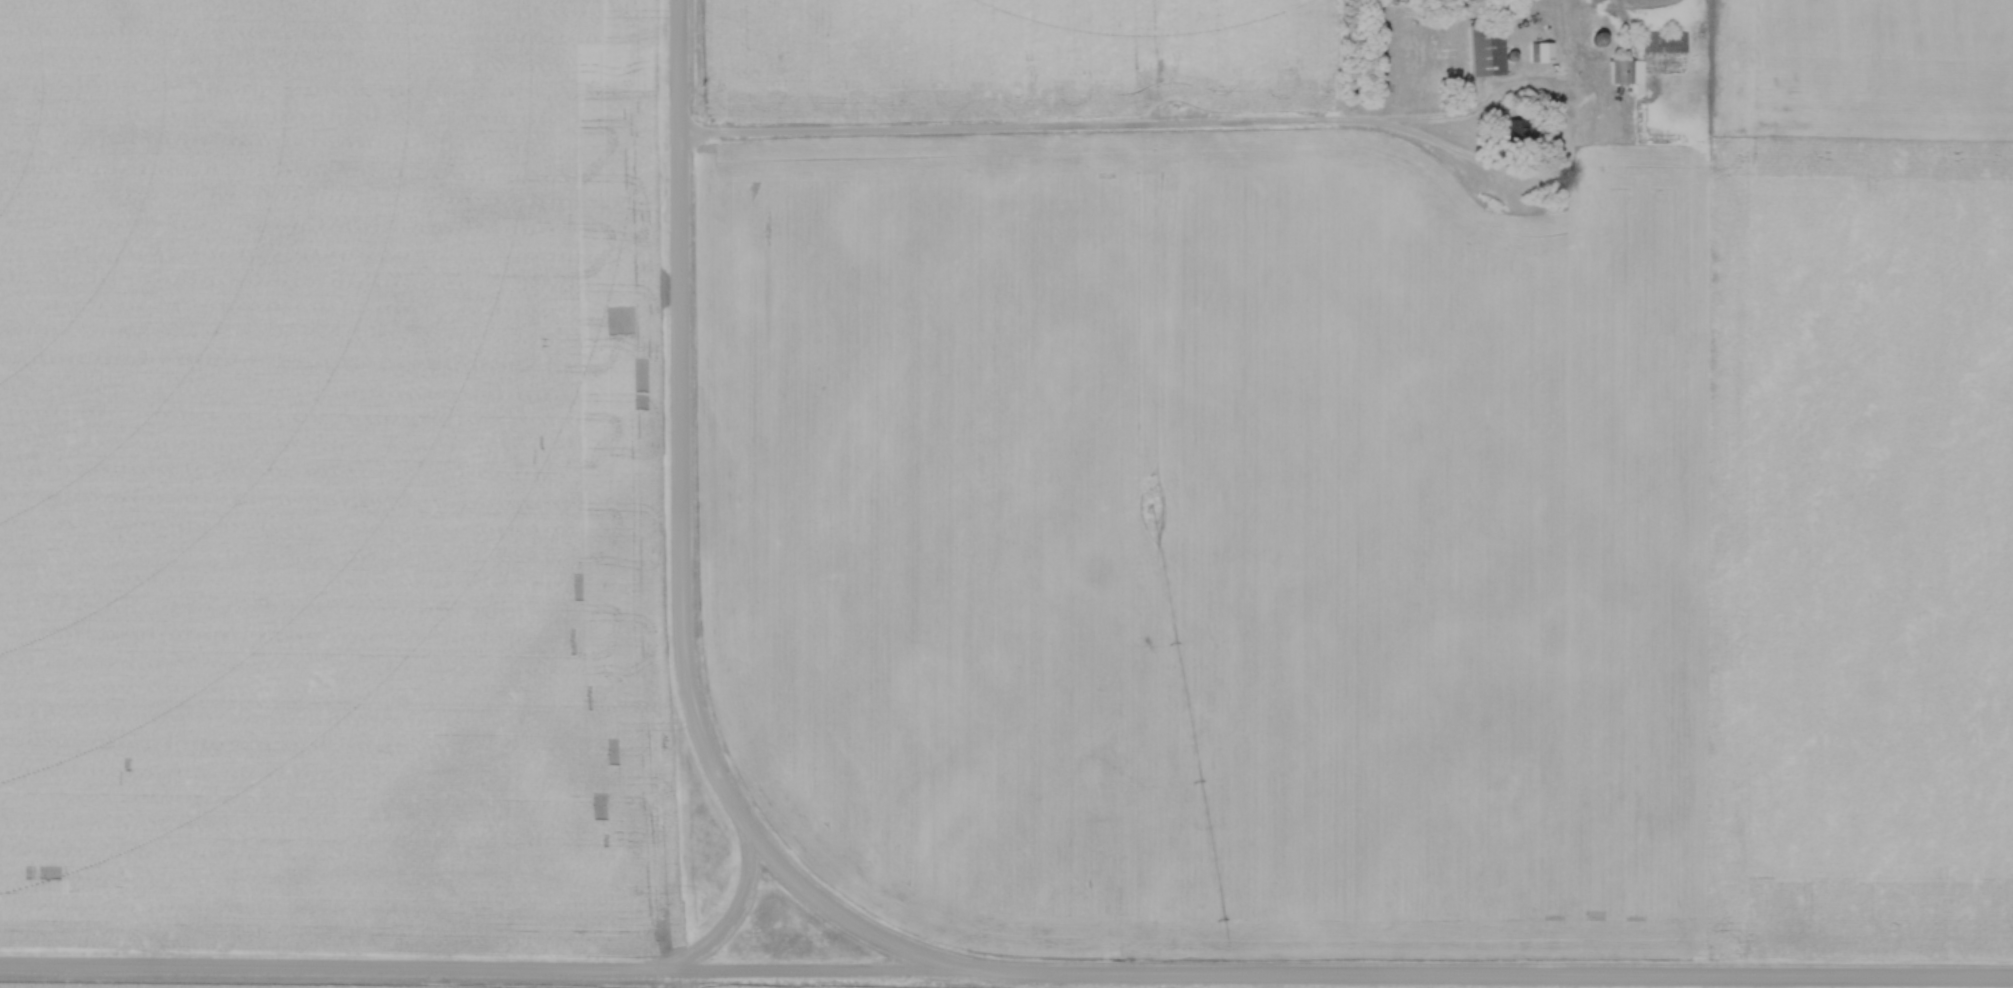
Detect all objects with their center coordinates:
building: (1667, 43)
building: (1490, 51)
building: (1543, 54)
building: (1631, 76)
road: (1032, 132)
road: (1514, 168)
road: (679, 551)
road: (726, 921)
road: (475, 974)
road: (1482, 982)

